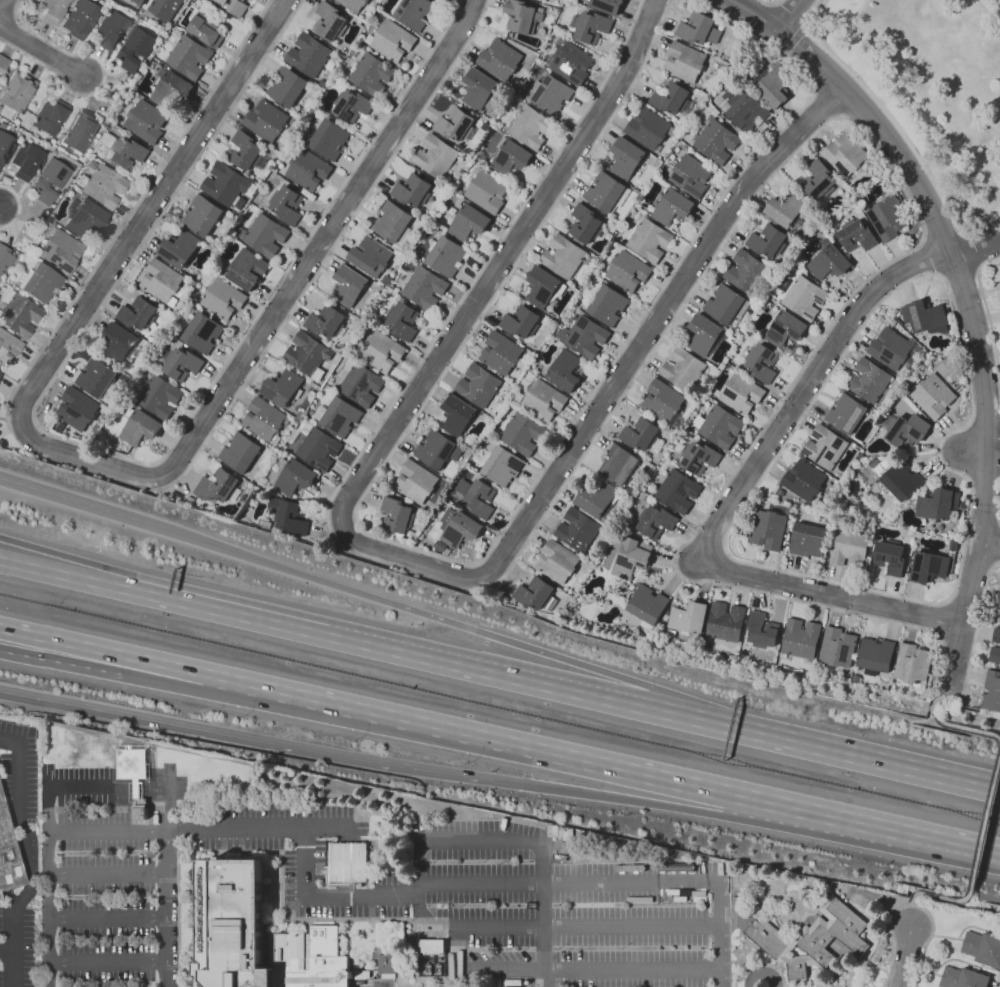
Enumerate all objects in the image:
building: (538, 0)
building: (138, 2)
road: (769, 2)
building: (560, 3)
building: (354, 4)
building: (607, 5)
building: (233, 6)
building: (53, 9)
building: (166, 9)
building: (414, 12)
road: (787, 14)
road: (790, 14)
building: (524, 16)
building: (81, 18)
building: (330, 21)
building: (590, 26)
road: (821, 26)
building: (700, 27)
building: (207, 28)
building: (111, 29)
road: (794, 37)
building: (392, 39)
building: (136, 48)
road: (42, 51)
building: (309, 54)
building: (190, 57)
building: (500, 59)
building: (571, 61)
building: (685, 62)
building: (3, 63)
building: (372, 74)
building: (0, 78)
road: (102, 78)
building: (287, 86)
building: (775, 86)
building: (170, 88)
park: (931, 88)
building: (480, 90)
building: (550, 93)
building: (16, 94)
building: (673, 98)
building: (352, 105)
road: (882, 110)
building: (747, 111)
building: (50, 117)
building: (146, 120)
building: (267, 120)
building: (456, 125)
building: (530, 126)
building: (650, 129)
building: (81, 131)
building: (330, 139)
building: (716, 141)
building: (5, 145)
building: (247, 152)
building: (127, 153)
building: (847, 155)
building: (436, 156)
building: (510, 157)
building: (627, 158)
building: (26, 160)
building: (309, 170)
building: (691, 176)
building: (819, 180)
building: (50, 181)
building: (226, 183)
building: (105, 185)
building: (72, 190)
building: (413, 190)
building: (487, 191)
building: (607, 192)
building: (861, 200)
road: (959, 201)
building: (241, 202)
building: (287, 204)
road: (19, 206)
building: (673, 207)
road: (0, 209)
building: (788, 209)
road: (130, 211)
building: (203, 215)
road: (992, 216)
building: (85, 217)
road: (980, 217)
building: (888, 218)
building: (394, 223)
building: (469, 223)
building: (588, 224)
road: (938, 229)
building: (433, 230)
building: (263, 235)
building: (857, 235)
road: (942, 236)
building: (649, 238)
building: (770, 242)
building: (180, 248)
road: (974, 248)
building: (61, 249)
road: (970, 250)
building: (418, 252)
building: (19, 255)
road: (326, 256)
building: (371, 256)
building: (447, 256)
building: (564, 256)
road: (930, 257)
building: (5, 260)
building: (829, 261)
building: (411, 263)
building: (218, 268)
building: (247, 269)
building: (628, 271)
road: (958, 271)
building: (748, 272)
road: (477, 273)
building: (41, 282)
building: (163, 282)
road: (861, 285)
building: (350, 286)
building: (544, 287)
building: (425, 288)
building: (803, 296)
building: (223, 299)
building: (606, 303)
building: (727, 304)
building: (20, 314)
building: (139, 314)
road: (986, 315)
building: (925, 317)
building: (403, 320)
building: (328, 322)
building: (521, 322)
building: (786, 329)
building: (203, 332)
building: (706, 335)
building: (585, 337)
building: (120, 344)
building: (8, 347)
building: (894, 349)
building: (382, 351)
building: (308, 353)
building: (501, 353)
building: (762, 362)
building: (180, 363)
building: (683, 369)
building: (565, 371)
building: (0, 373)
building: (100, 379)
building: (871, 383)
building: (362, 384)
building: (479, 386)
building: (284, 387)
road: (806, 389)
building: (741, 393)
building: (159, 395)
building: (934, 396)
building: (544, 400)
building: (664, 403)
building: (77, 409)
building: (846, 413)
building: (300, 415)
building: (339, 416)
building: (457, 416)
building: (265, 420)
road: (33, 421)
road: (26, 423)
building: (718, 425)
building: (139, 426)
road: (10, 428)
building: (905, 430)
building: (523, 434)
building: (642, 434)
road: (789, 436)
building: (825, 447)
building: (318, 448)
building: (438, 450)
building: (241, 452)
road: (971, 454)
road: (117, 455)
building: (699, 457)
building: (619, 464)
building: (503, 466)
building: (879, 469)
road: (118, 472)
building: (293, 477)
building: (901, 479)
building: (805, 480)
building: (416, 481)
building: (871, 483)
building: (219, 486)
building: (679, 491)
building: (781, 492)
building: (479, 498)
building: (599, 500)
building: (841, 500)
road: (84, 502)
building: (938, 507)
building: (211, 508)
building: (397, 516)
building: (287, 517)
building: (656, 521)
road: (356, 526)
building: (769, 527)
building: (459, 528)
building: (578, 530)
building: (642, 534)
road: (347, 537)
building: (809, 540)
road: (991, 543)
building: (850, 548)
building: (890, 557)
road: (404, 559)
building: (632, 559)
building: (557, 562)
road: (470, 564)
road: (476, 564)
building: (929, 567)
road: (473, 578)
building: (624, 589)
building: (536, 594)
road: (825, 594)
road: (162, 598)
building: (645, 607)
building: (999, 610)
road: (964, 612)
road: (423, 613)
building: (666, 617)
building: (688, 618)
building: (725, 622)
building: (762, 633)
building: (996, 635)
building: (800, 639)
building: (837, 647)
road: (118, 653)
building: (743, 653)
building: (995, 654)
building: (876, 656)
road: (71, 664)
building: (912, 664)
road: (494, 675)
road: (190, 687)
building: (918, 687)
building: (992, 691)
road: (17, 695)
road: (939, 696)
parking lot: (13, 728)
road: (503, 739)
road: (262, 743)
road: (832, 753)
helipad: (132, 764)
building: (134, 773)
parking lot: (6, 774)
parking lot: (31, 781)
road: (107, 790)
road: (631, 802)
road: (987, 807)
road: (830, 813)
road: (232, 828)
road: (946, 839)
road: (509, 840)
parking lot: (292, 846)
building: (8, 854)
road: (24, 858)
building: (347, 862)
road: (107, 876)
parking lot: (106, 880)
road: (620, 883)
building: (815, 883)
building: (0, 897)
road: (327, 897)
building: (736, 899)
road: (911, 905)
road: (166, 908)
road: (911, 908)
road: (49, 909)
parking lot: (567, 909)
parking lot: (1, 917)
road: (107, 919)
road: (567, 926)
building: (256, 936)
building: (811, 938)
parking lot: (30, 947)
building: (431, 948)
building: (983, 948)
road: (7, 949)
road: (903, 957)
road: (107, 964)
building: (386, 966)
building: (429, 970)
building: (439, 970)
road: (562, 970)
road: (759, 975)
parking lot: (1, 978)
building: (963, 978)
building: (527, 982)
building: (497, 983)

